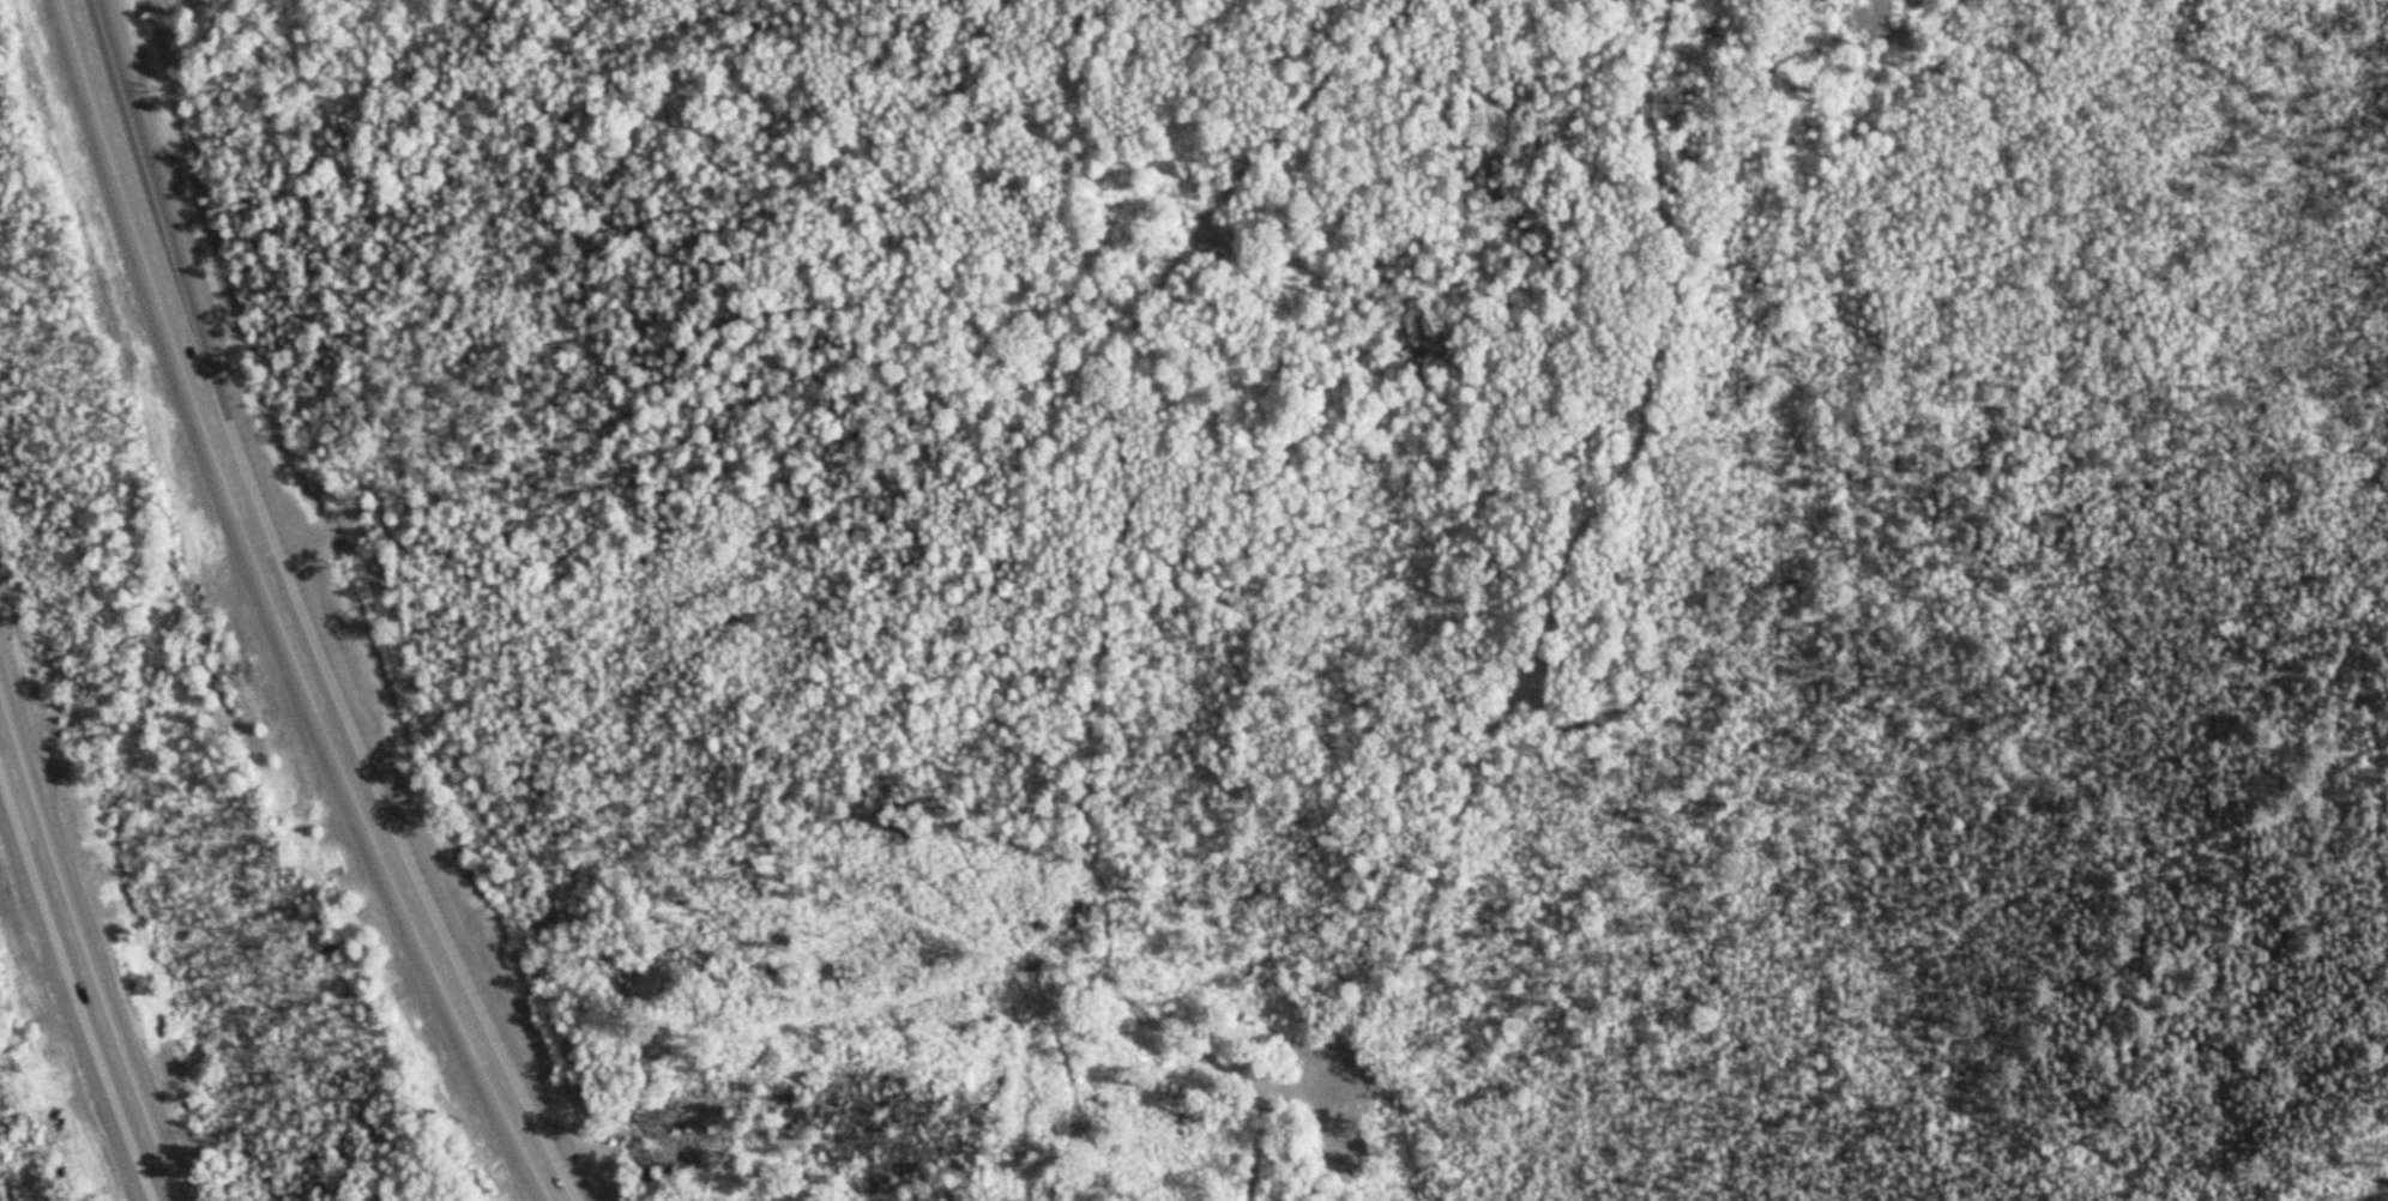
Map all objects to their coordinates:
road: (301, 611)
road: (84, 960)

